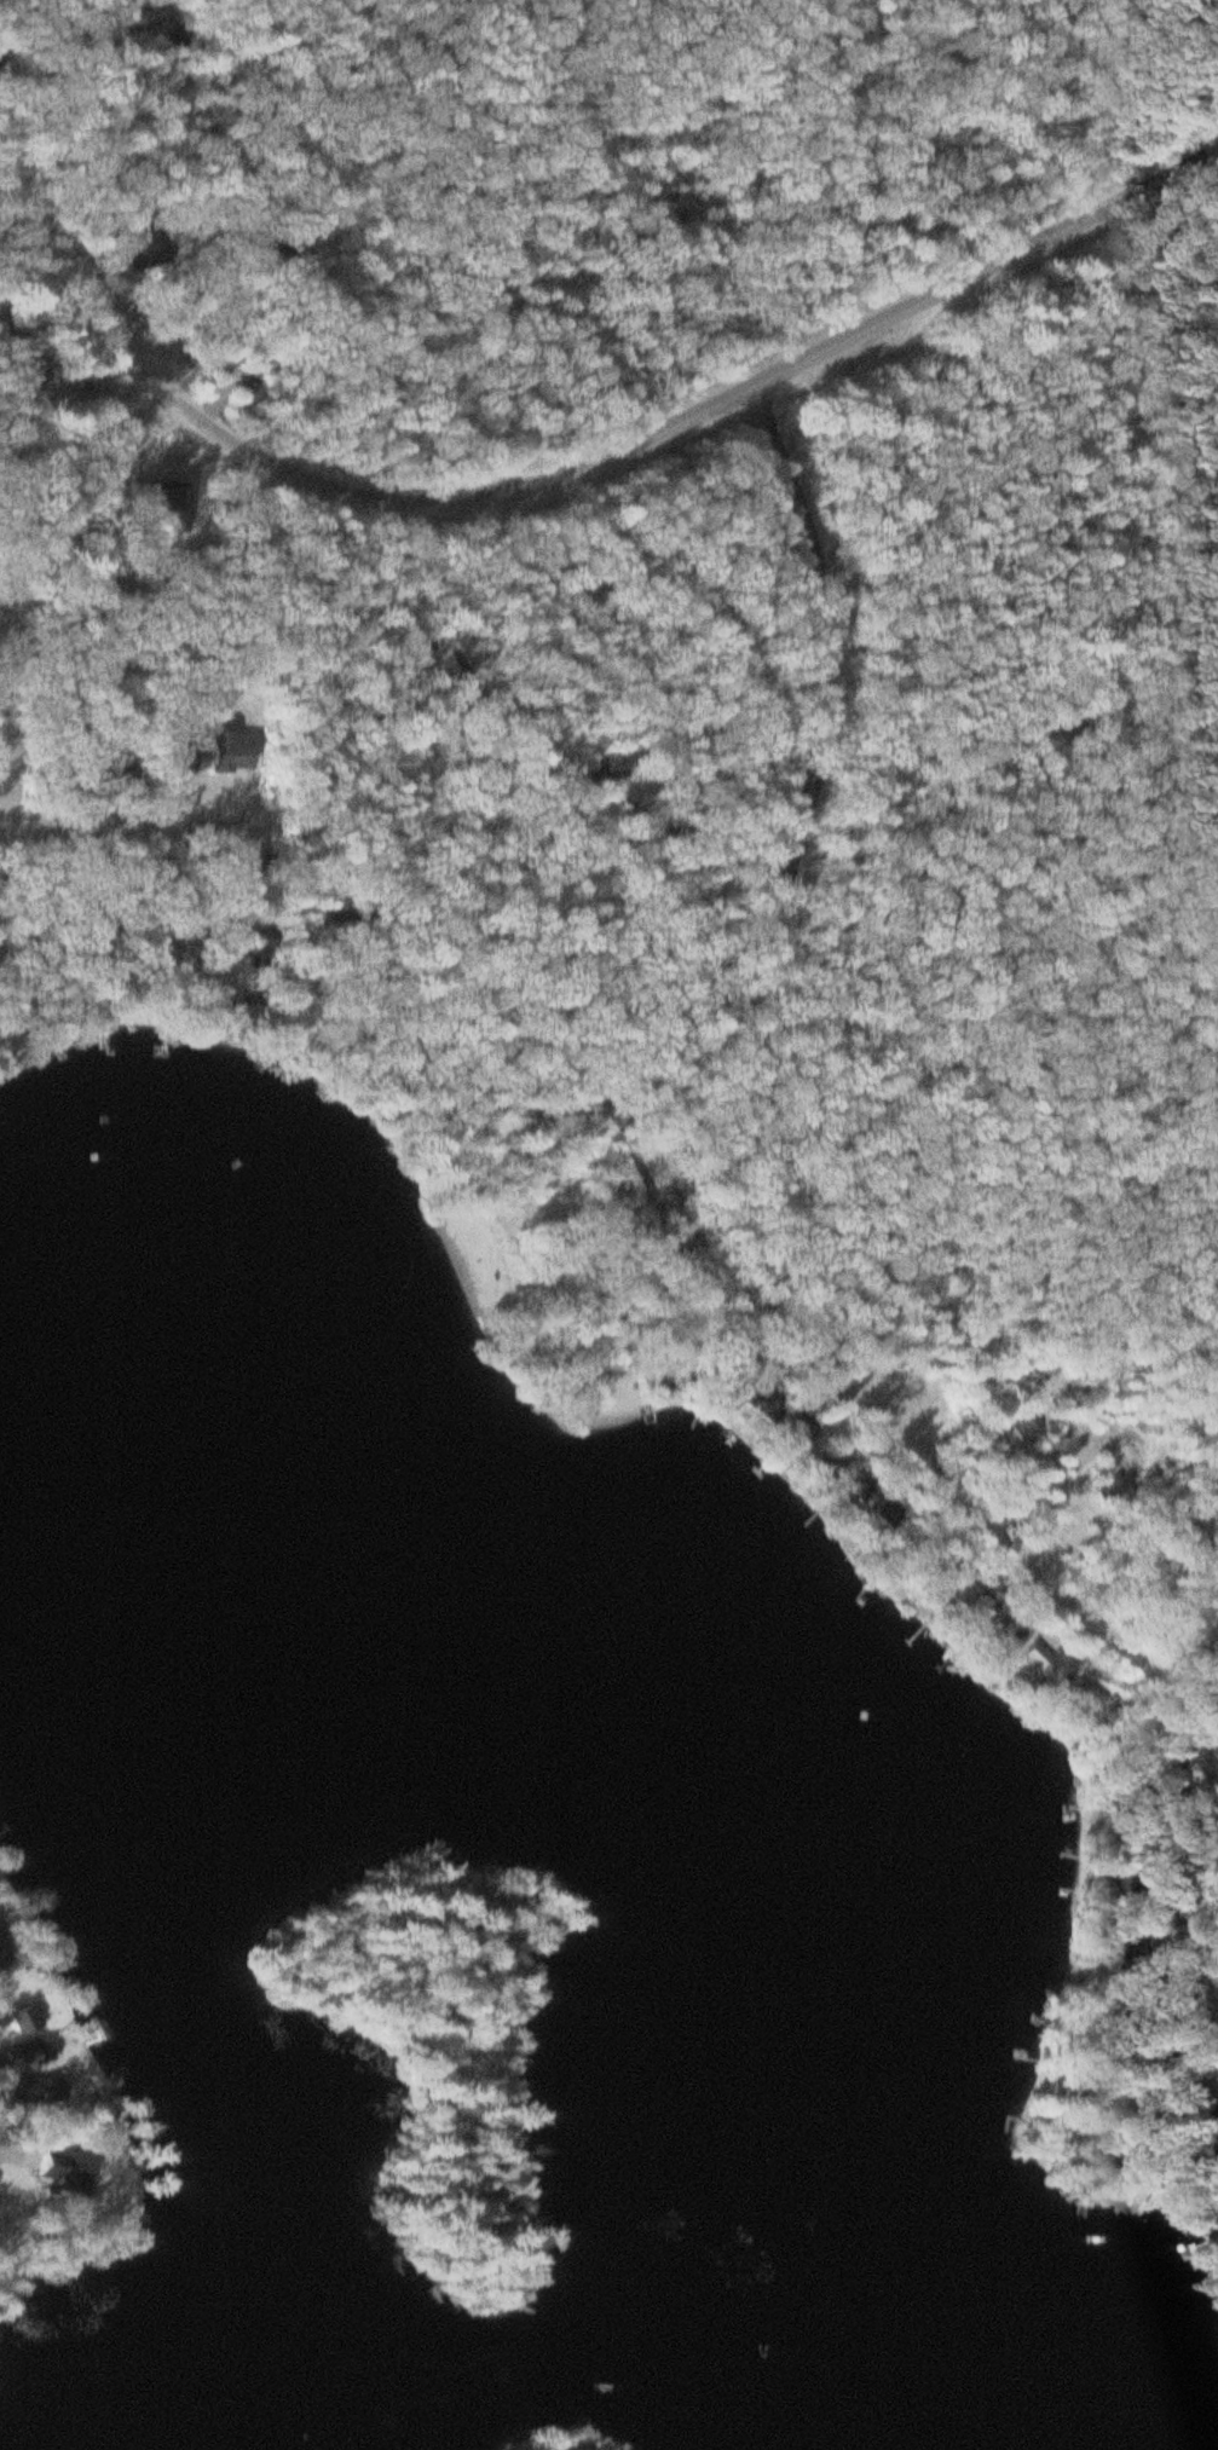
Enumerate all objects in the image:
road: (506, 250)
road: (588, 473)
road: (56, 557)
road: (728, 640)
road: (819, 752)
building: (236, 753)
road: (506, 756)
road: (177, 832)
road: (608, 1086)
building: (829, 1404)
building: (1029, 1427)
building: (1203, 1536)
road: (1024, 1549)
building: (998, 1618)
building: (1043, 1662)
road: (1217, 1741)
building: (1137, 1885)
building: (29, 2022)
building: (37, 2057)
building: (41, 2091)

